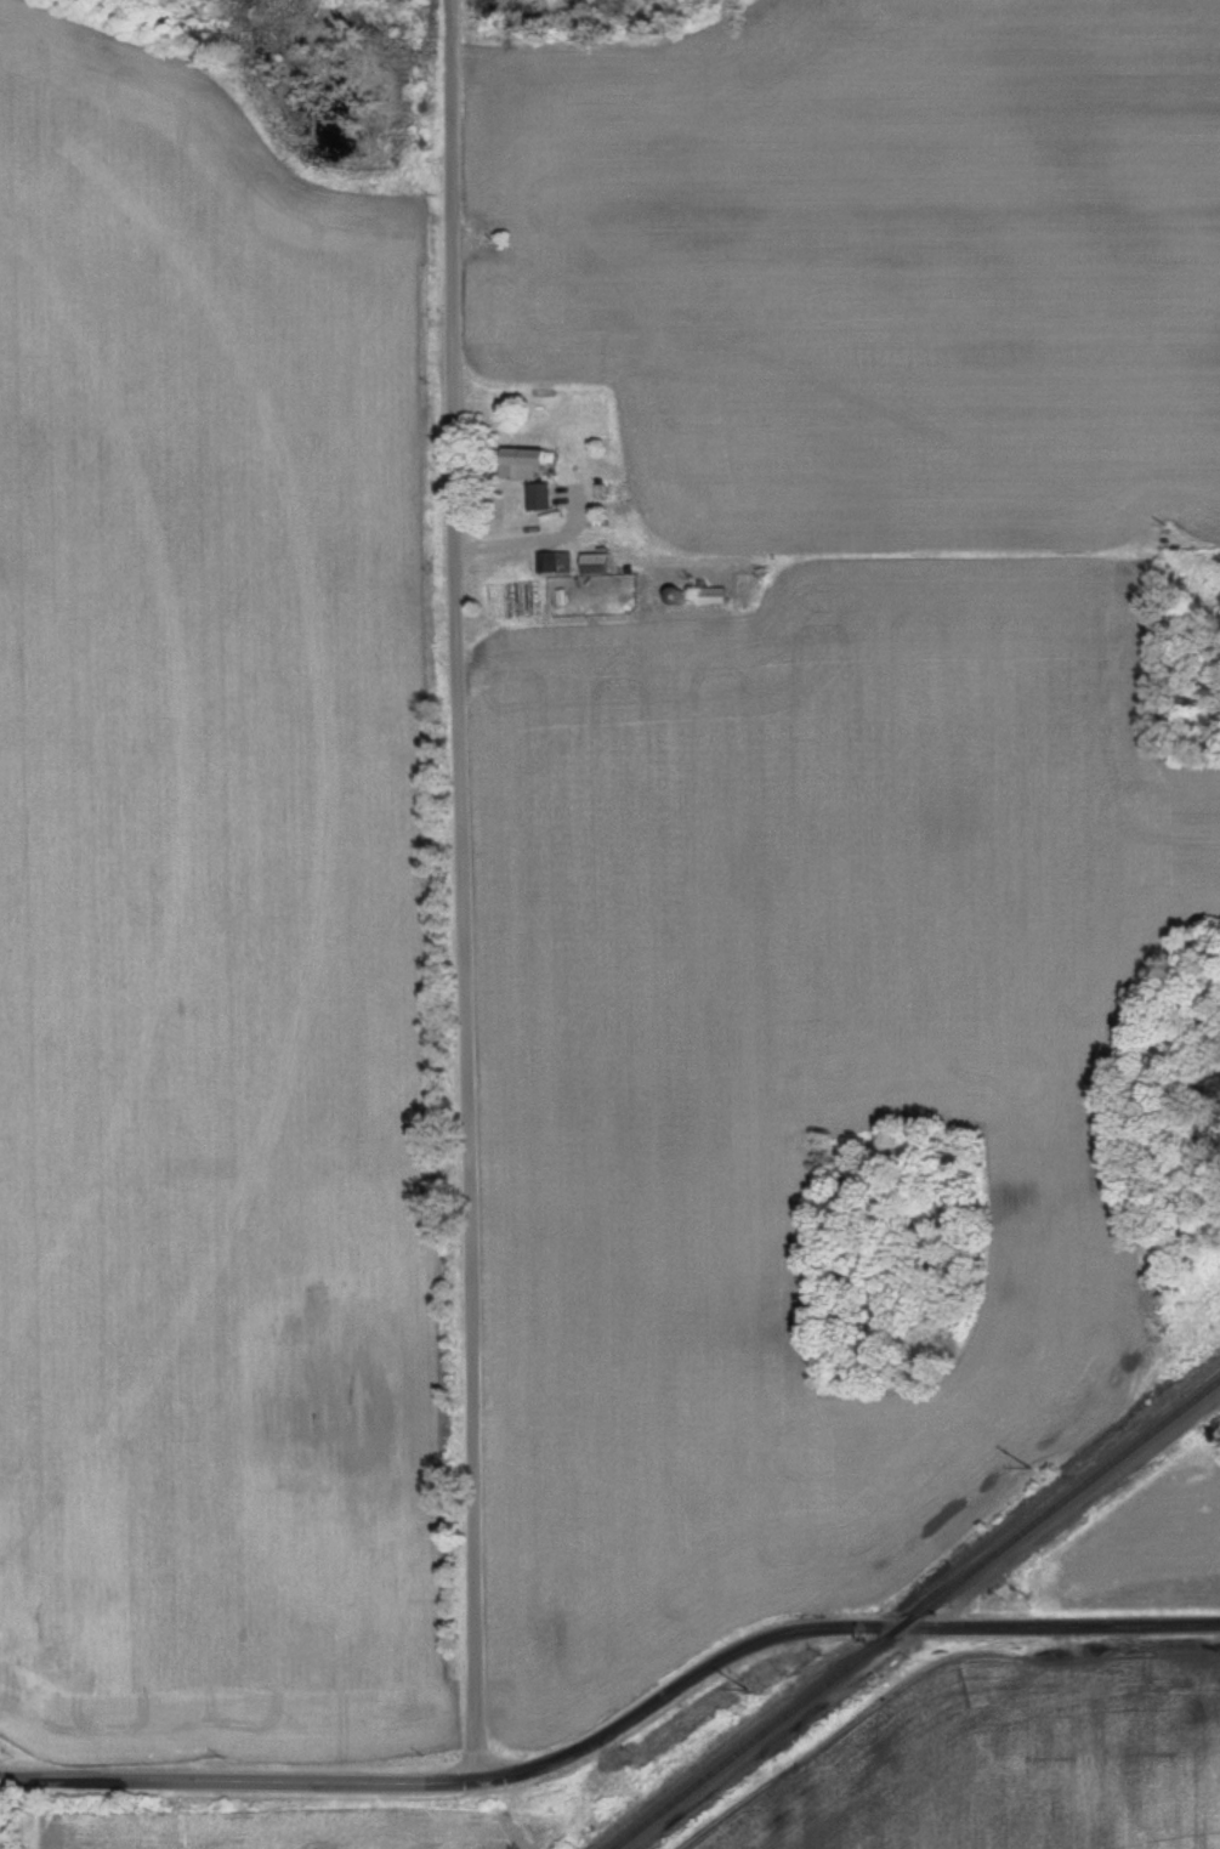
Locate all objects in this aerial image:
building: (526, 465)
building: (540, 498)
road: (529, 539)
building: (555, 563)
building: (597, 566)
building: (710, 597)
road: (459, 890)
crop: (215, 935)
railway: (918, 1617)
road: (828, 1629)
building: (0, 1671)
crop: (1011, 1758)
road: (203, 1781)
road: (439, 1781)
crop: (301, 1830)

